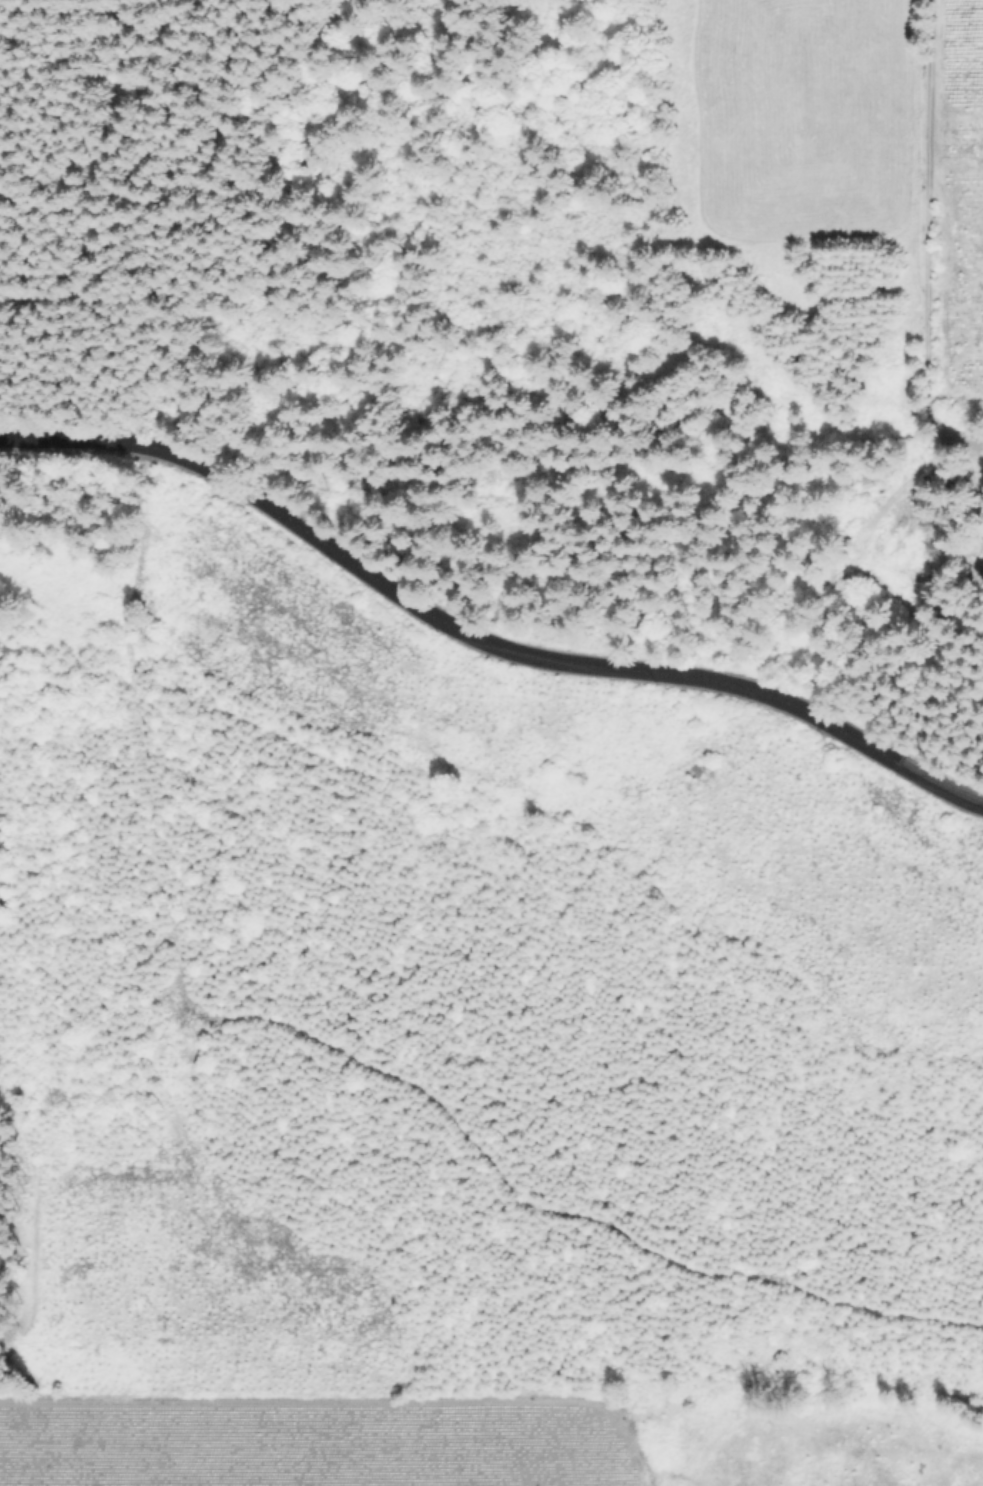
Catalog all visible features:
road: (954, 197)
road: (481, 636)

